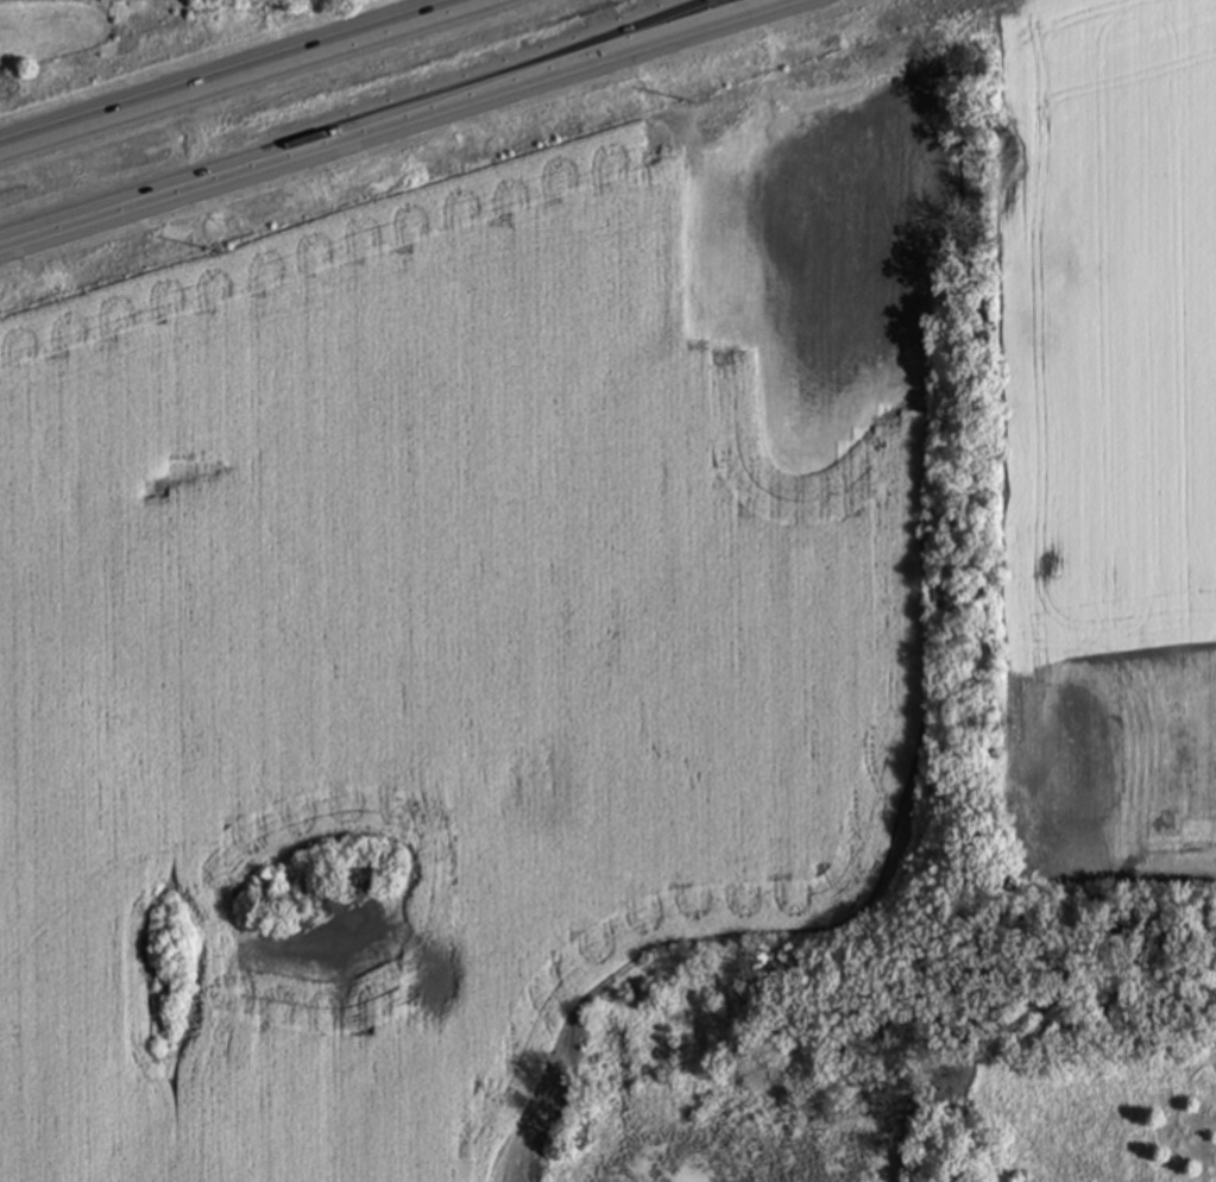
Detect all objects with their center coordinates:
road: (252, 78)
road: (399, 126)

